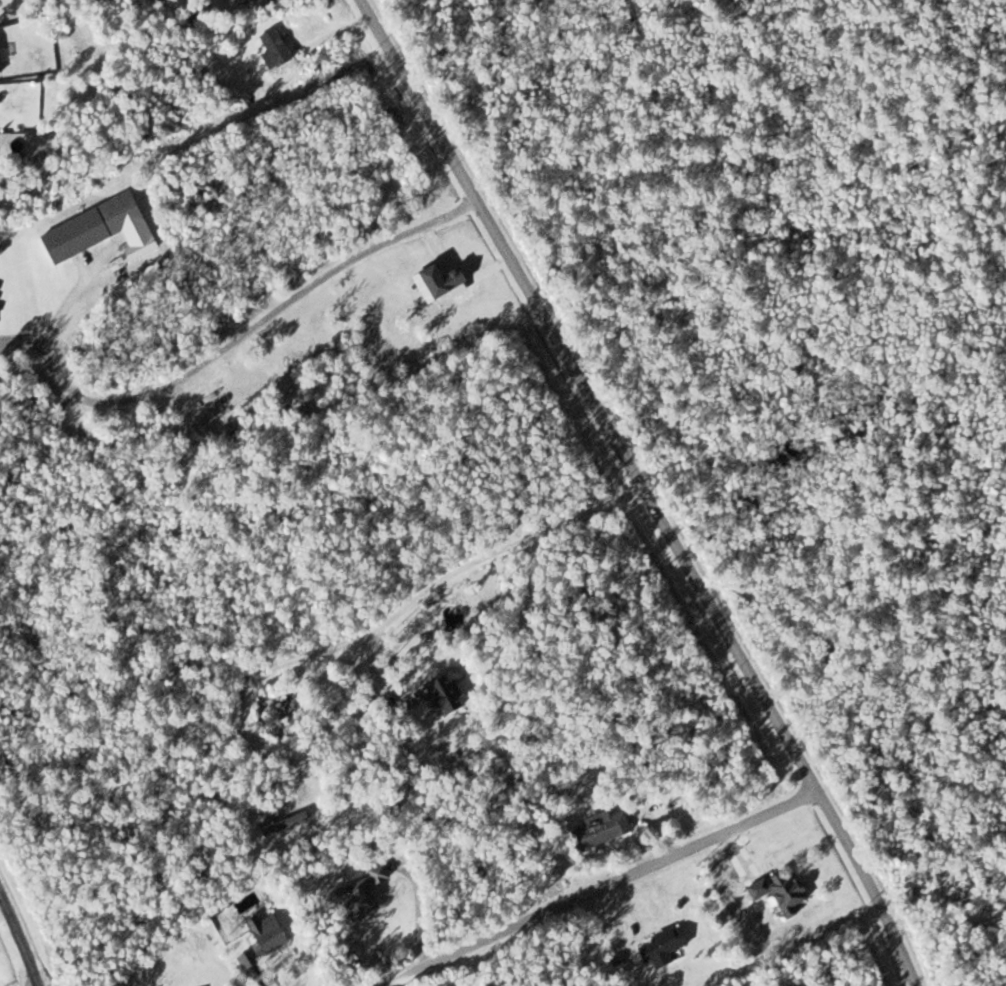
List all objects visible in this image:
building: (254, 2)
building: (281, 49)
building: (99, 228)
road: (638, 492)
building: (451, 696)
building: (290, 825)
building: (607, 830)
road: (594, 888)
building: (780, 891)
building: (366, 896)
building: (276, 933)
road: (17, 944)
building: (669, 947)
building: (253, 960)

